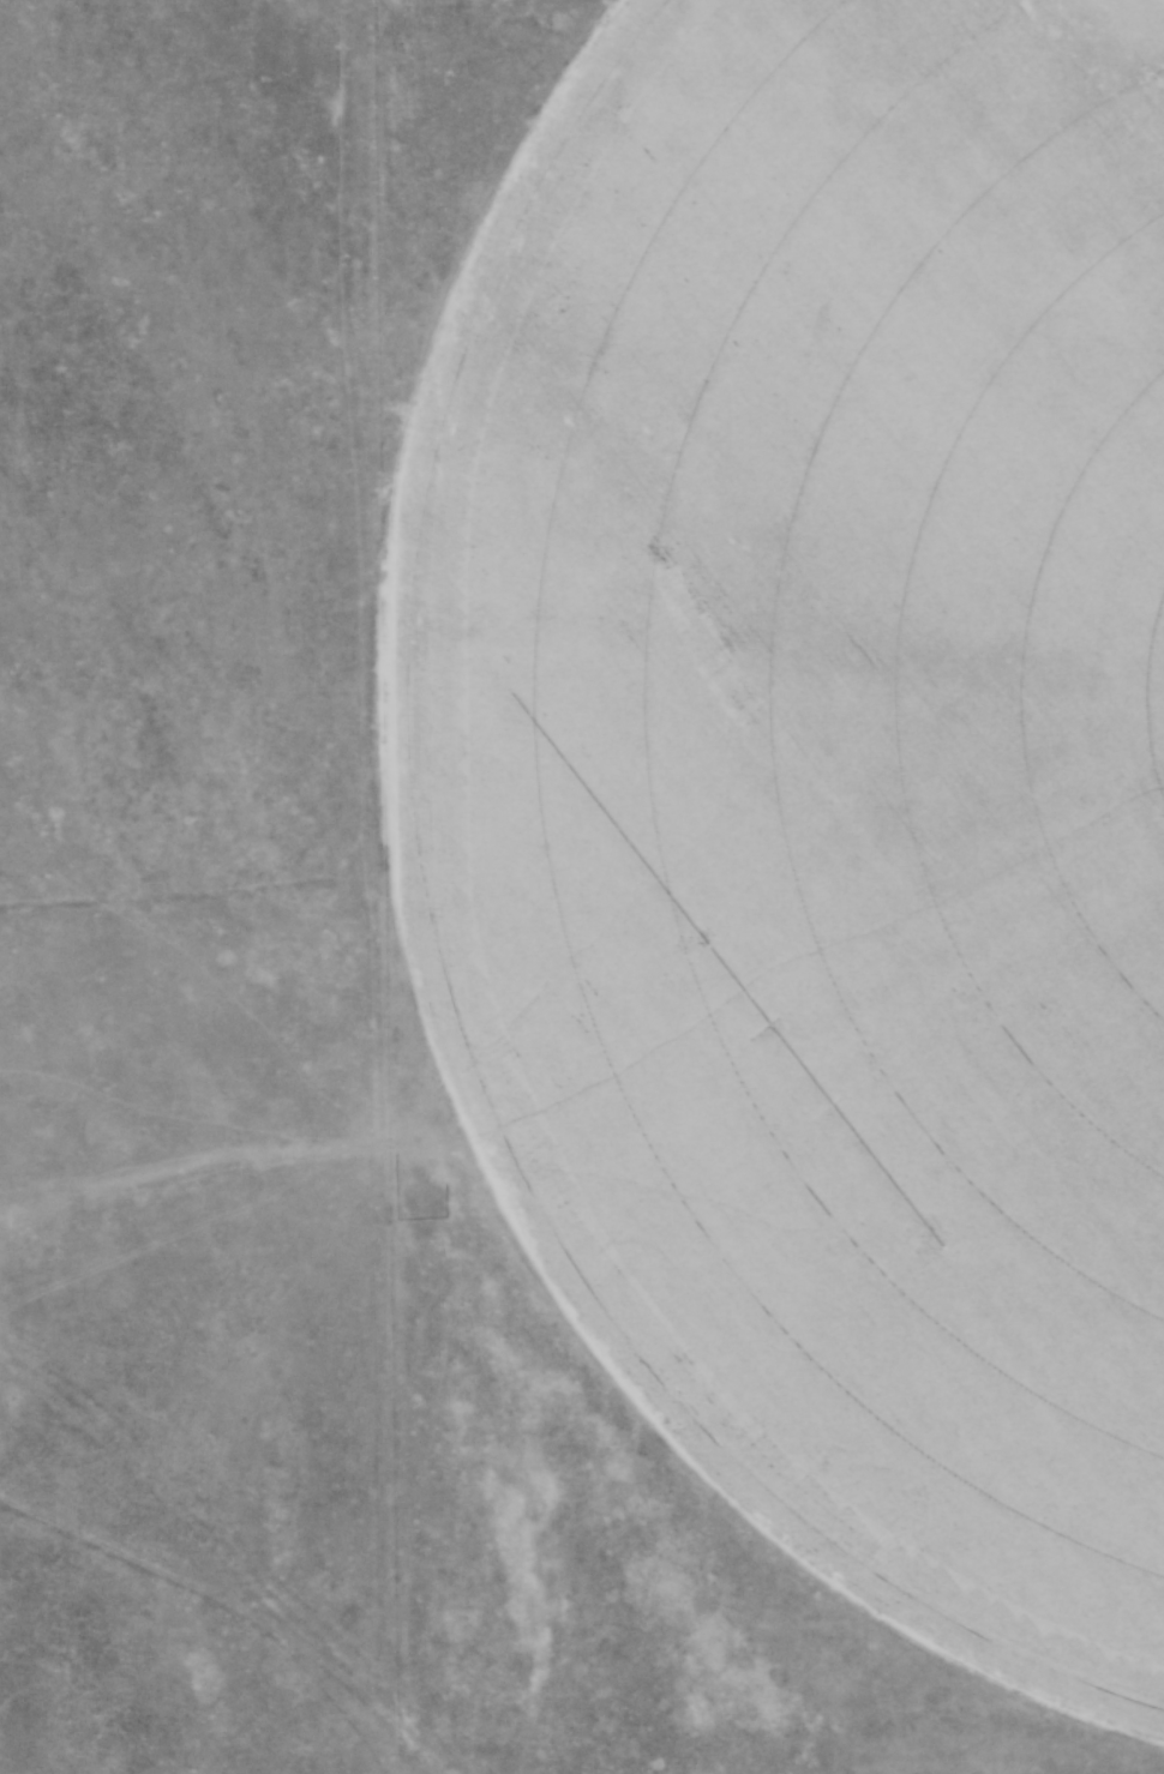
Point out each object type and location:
crop: (826, 780)

